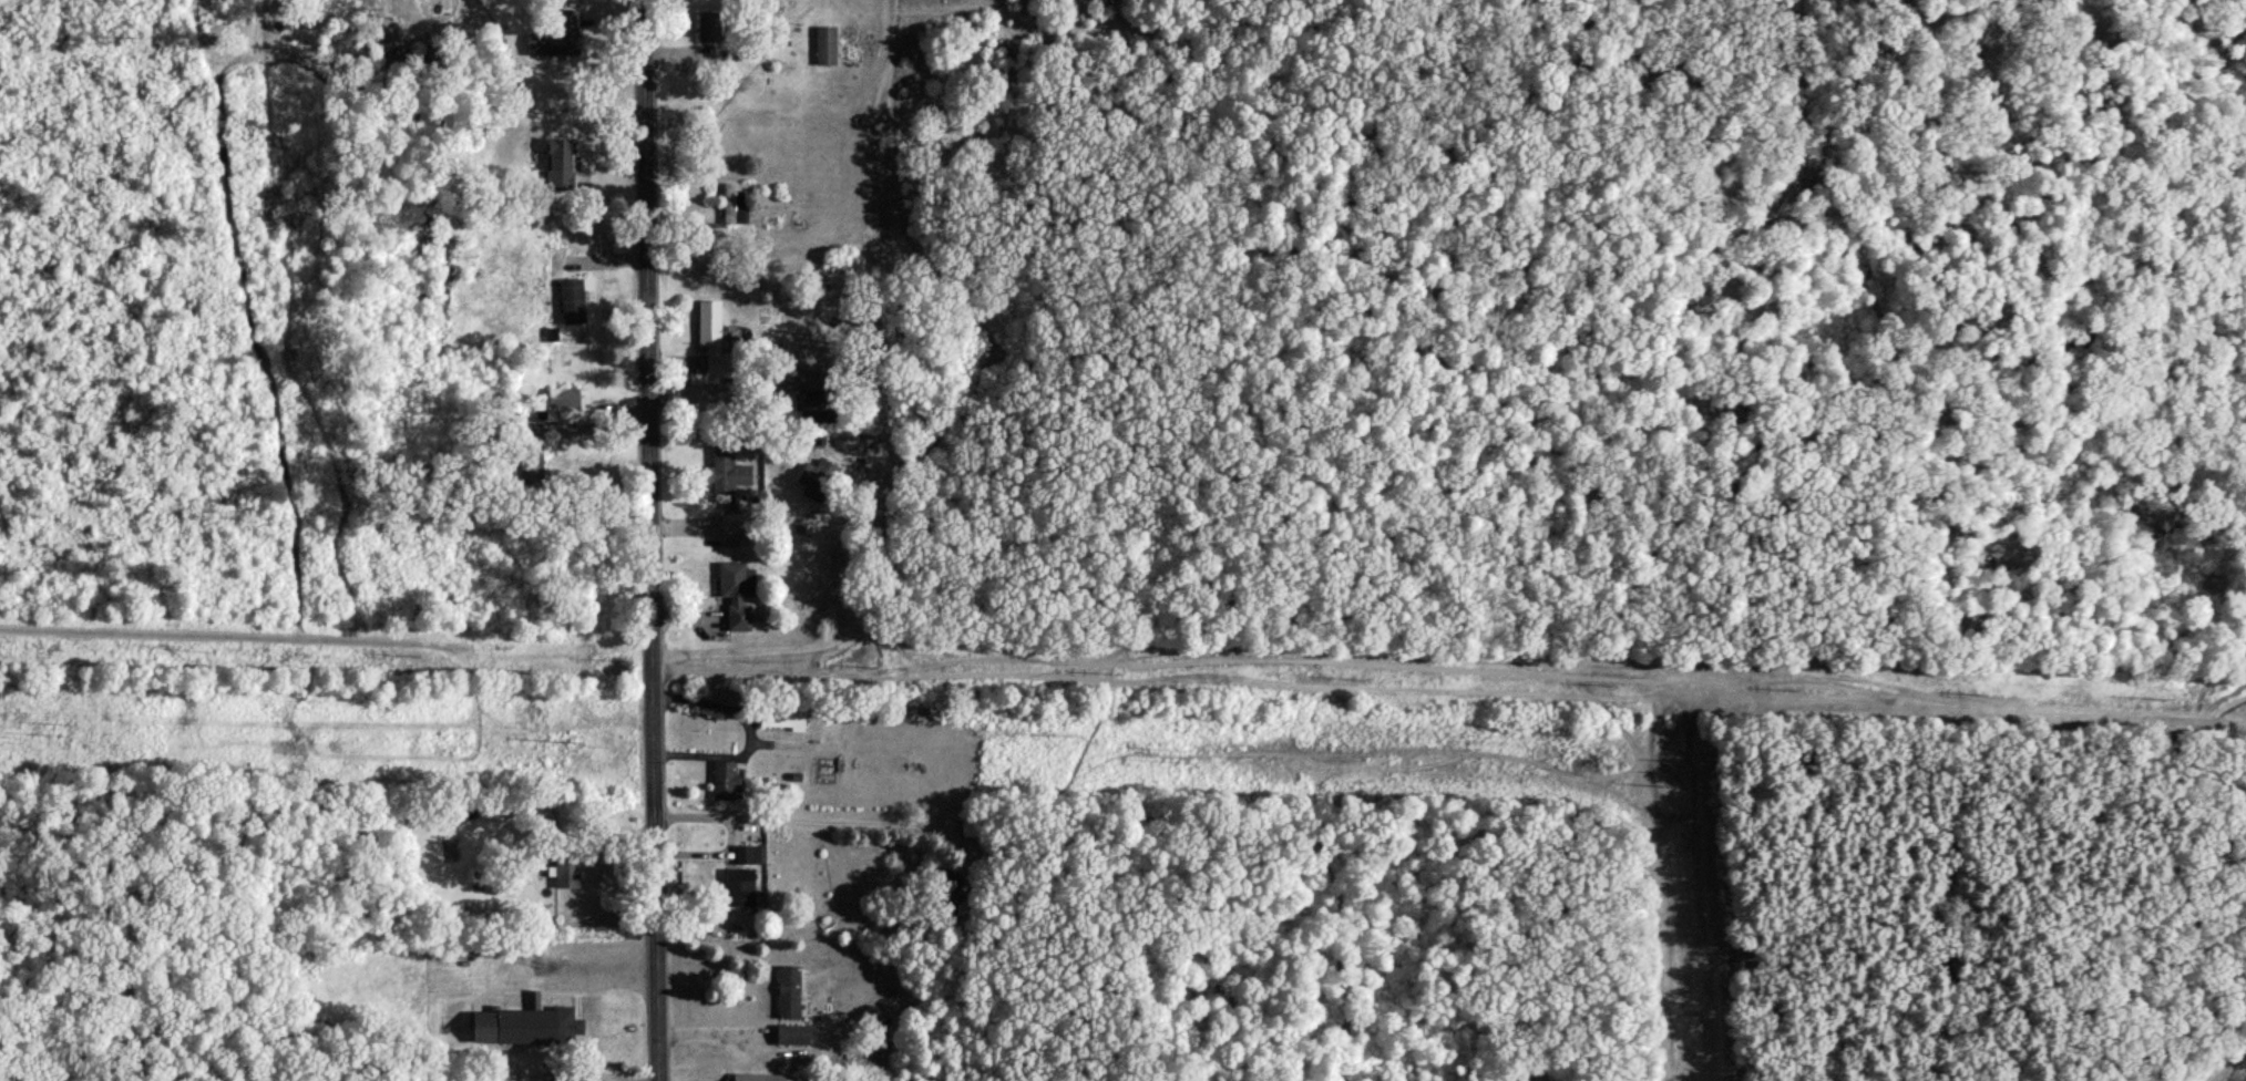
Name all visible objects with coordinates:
building: (709, 37)
building: (827, 50)
building: (562, 164)
building: (732, 210)
building: (573, 265)
building: (574, 305)
building: (710, 329)
road: (756, 377)
road: (586, 413)
building: (731, 472)
building: (819, 484)
building: (738, 531)
road: (648, 540)
building: (739, 598)
road: (839, 632)
building: (787, 721)
road: (743, 732)
power tower: (58, 734)
power tower: (583, 744)
power tower: (1171, 762)
power tower: (1676, 772)
building: (724, 784)
road: (814, 812)
road: (592, 833)
building: (741, 890)
road: (596, 962)
building: (790, 997)
power tower: (1685, 1030)
building: (526, 1031)
building: (794, 1040)
building: (761, 1080)

